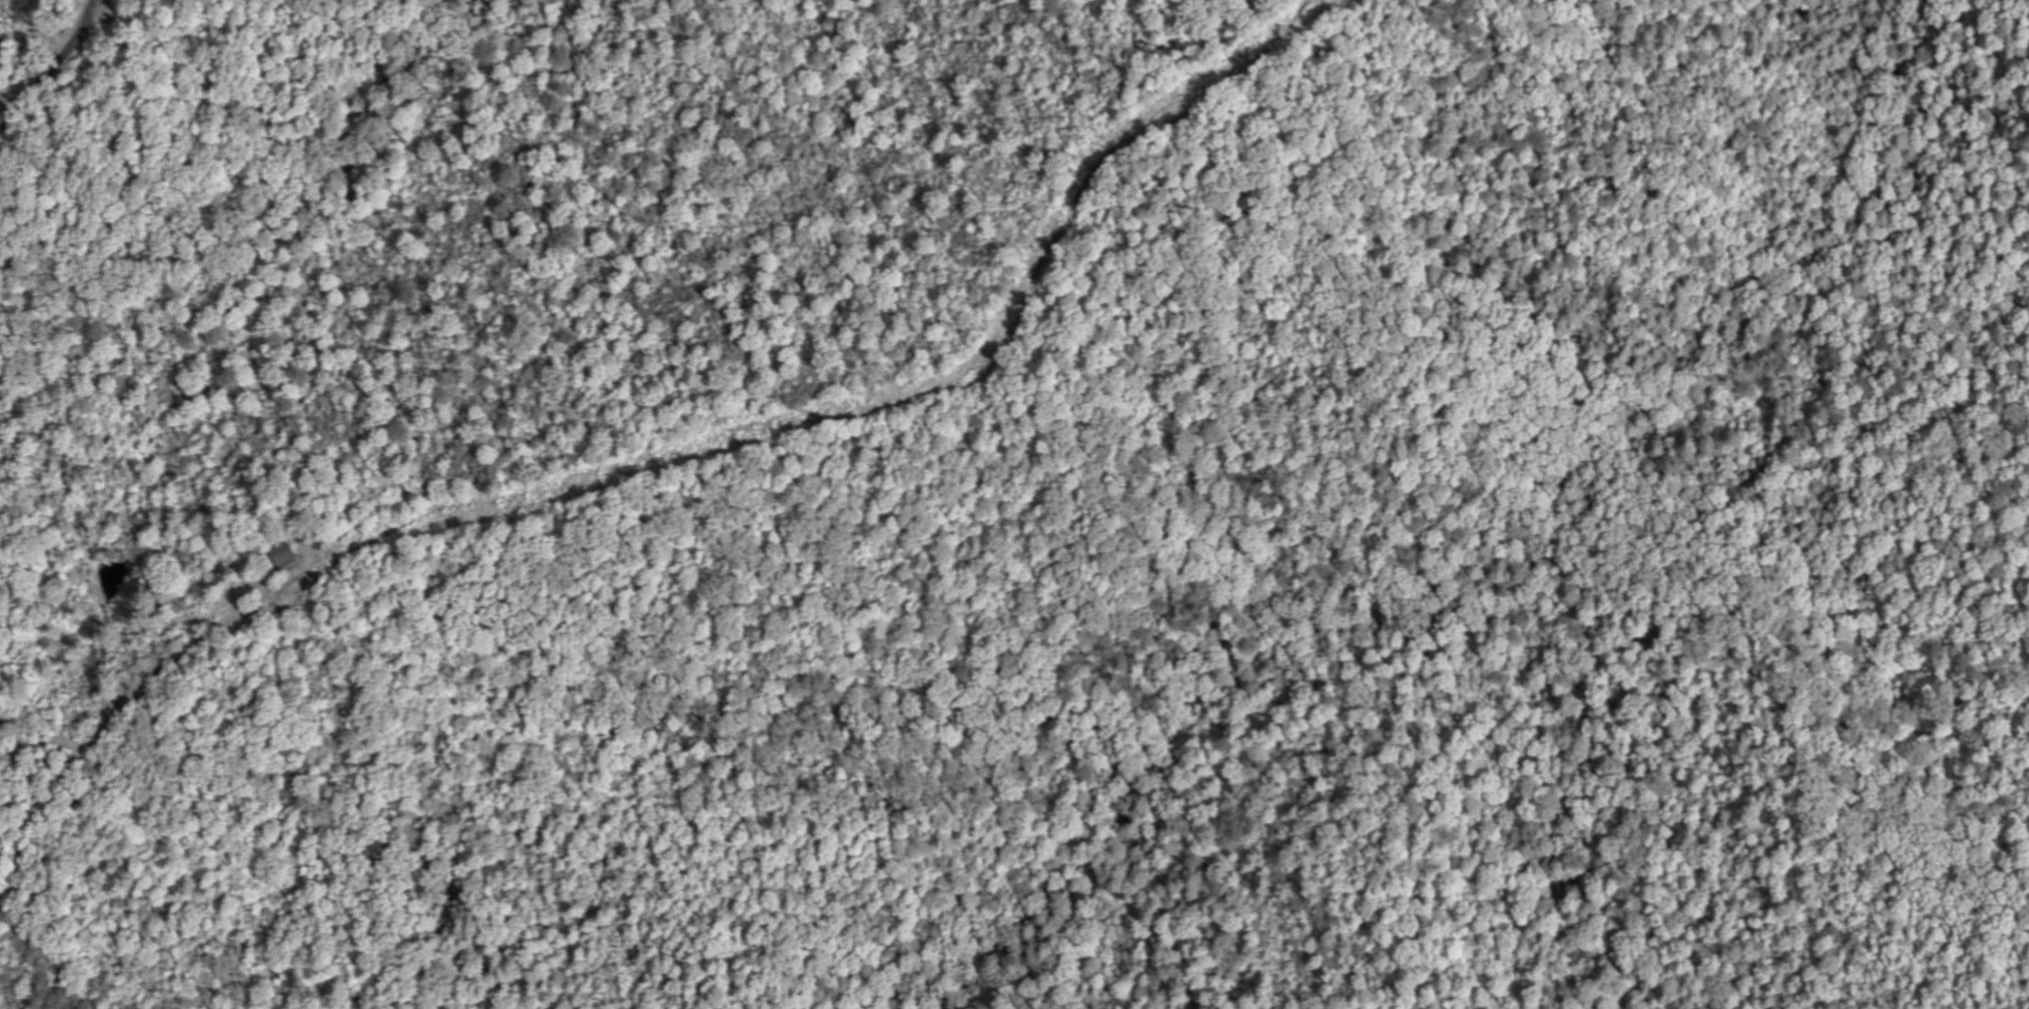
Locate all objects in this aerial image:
road: (53, 69)
building: (292, 557)
road: (102, 727)

